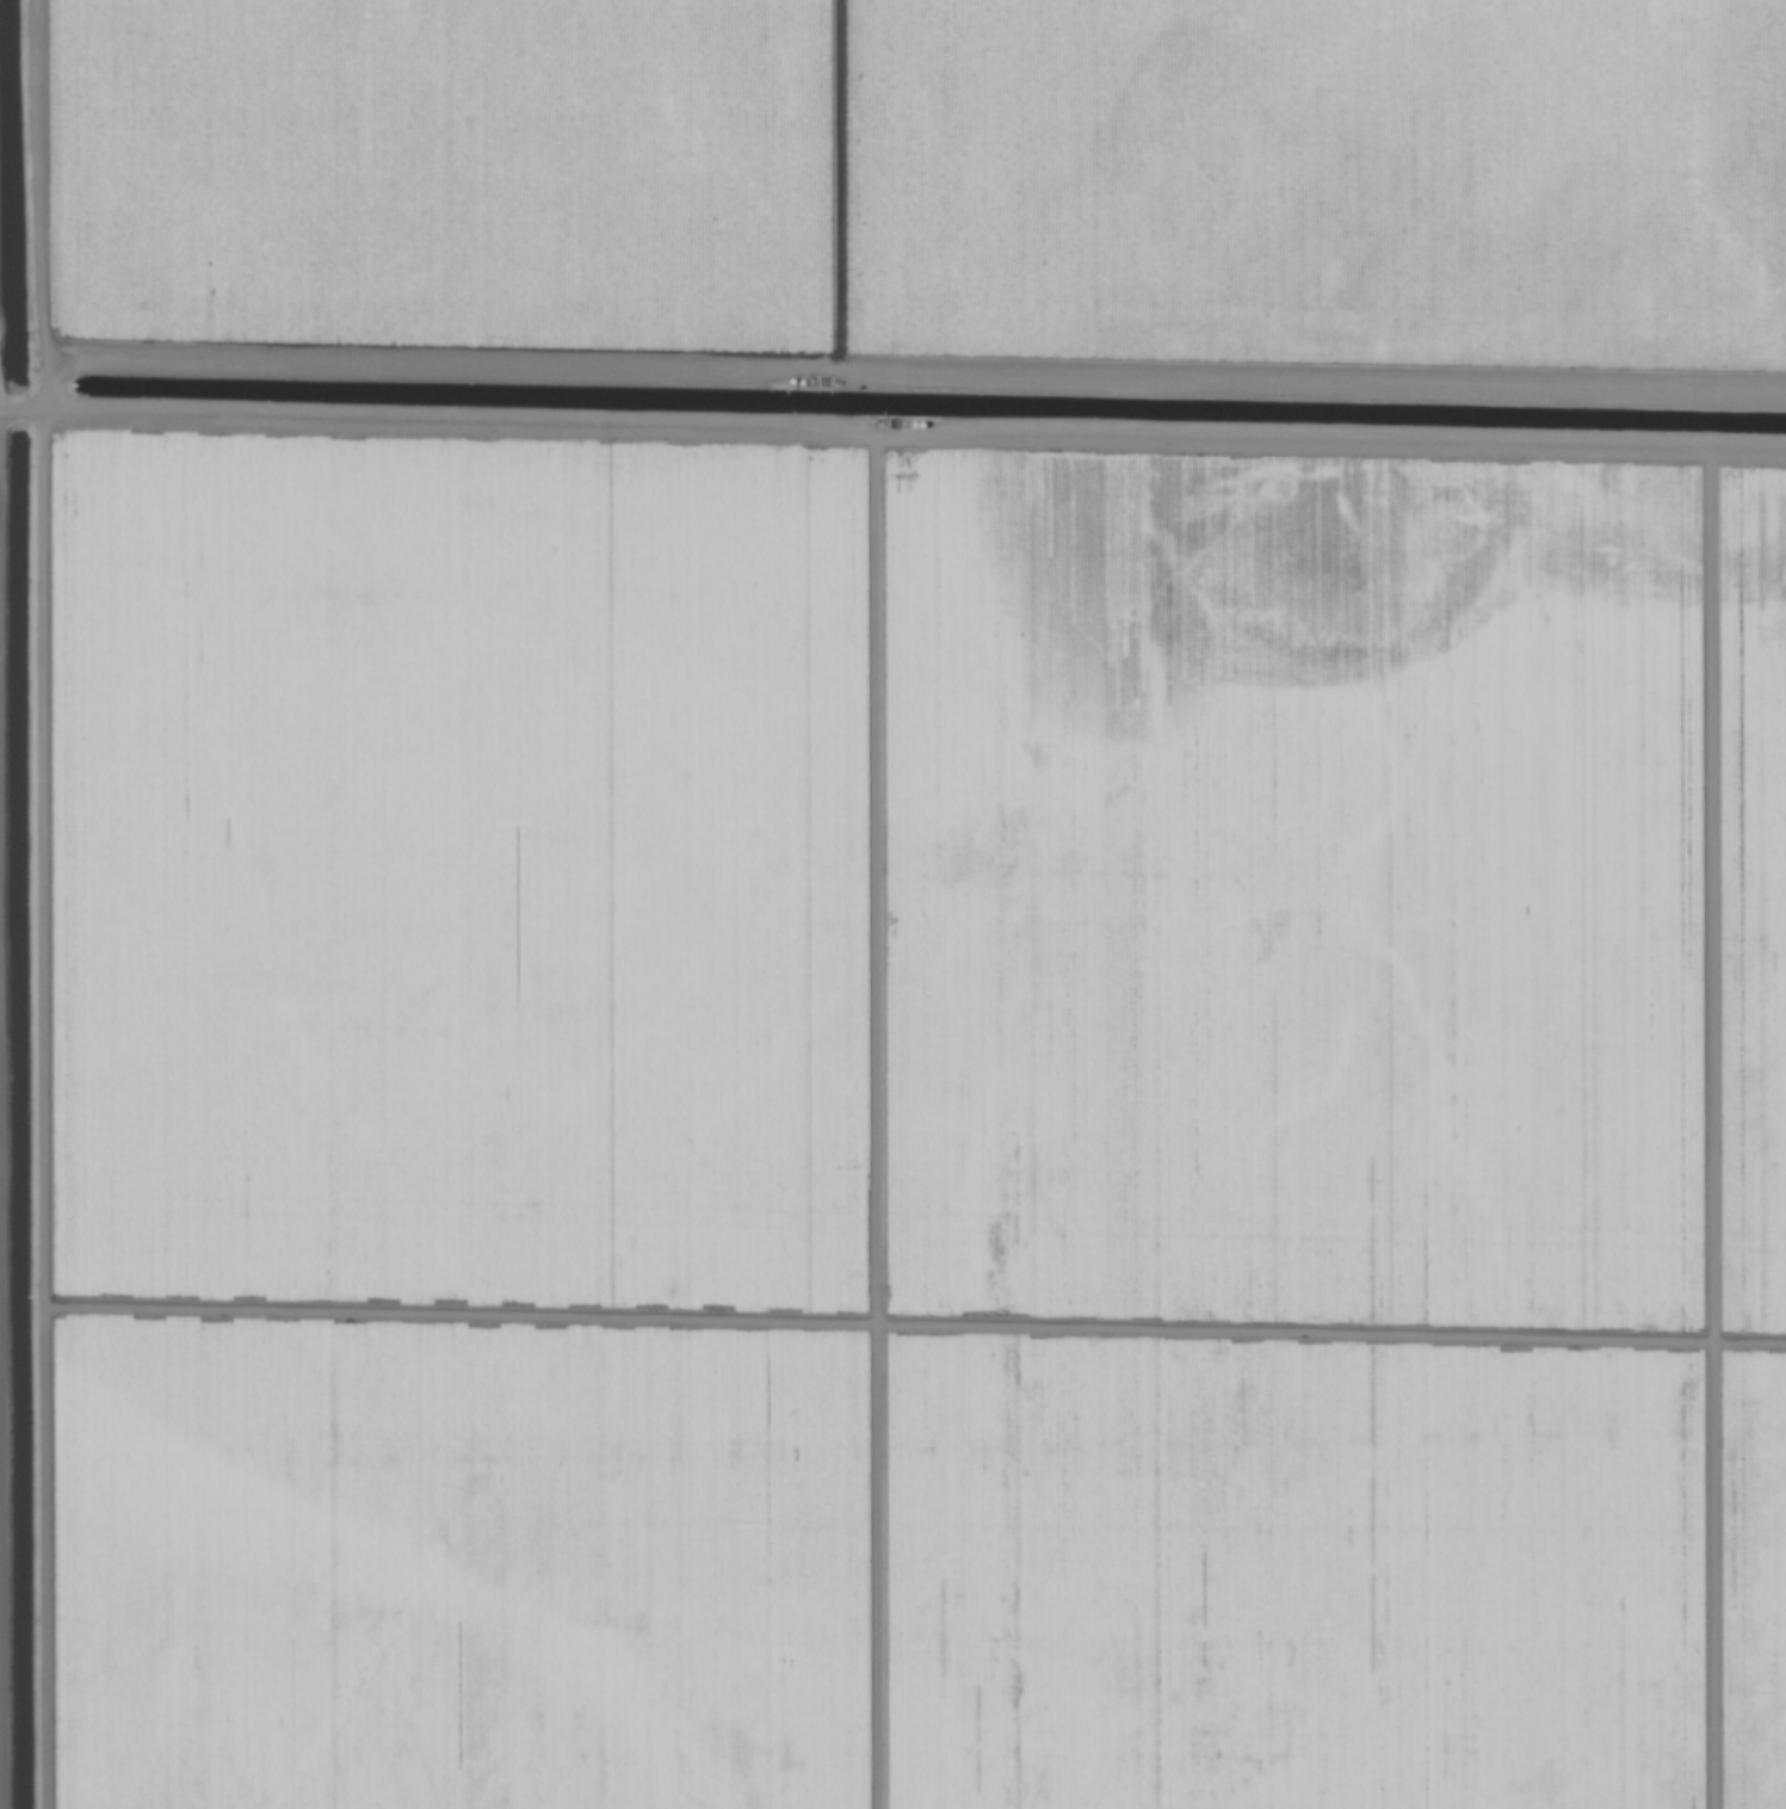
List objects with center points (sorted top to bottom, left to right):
road: (892, 470)
crop: (892, 904)

